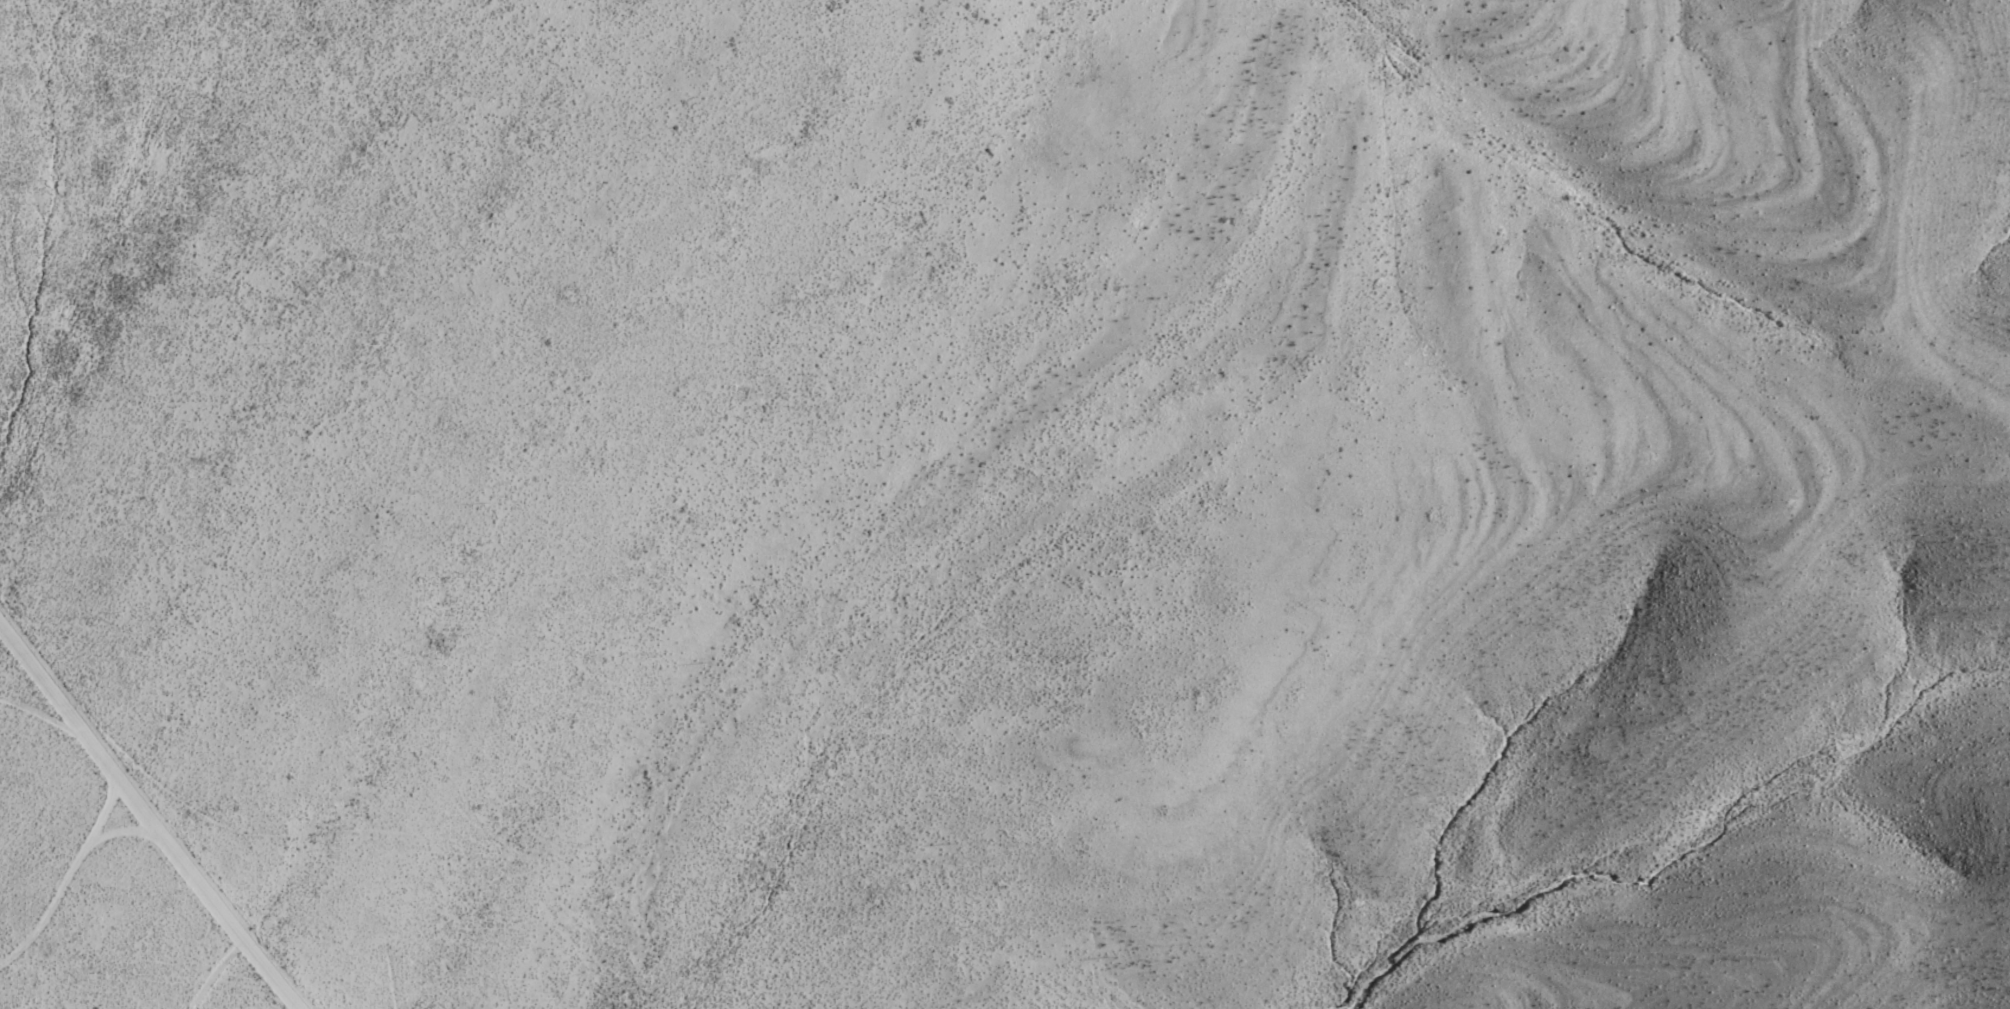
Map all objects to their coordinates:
road: (145, 821)

